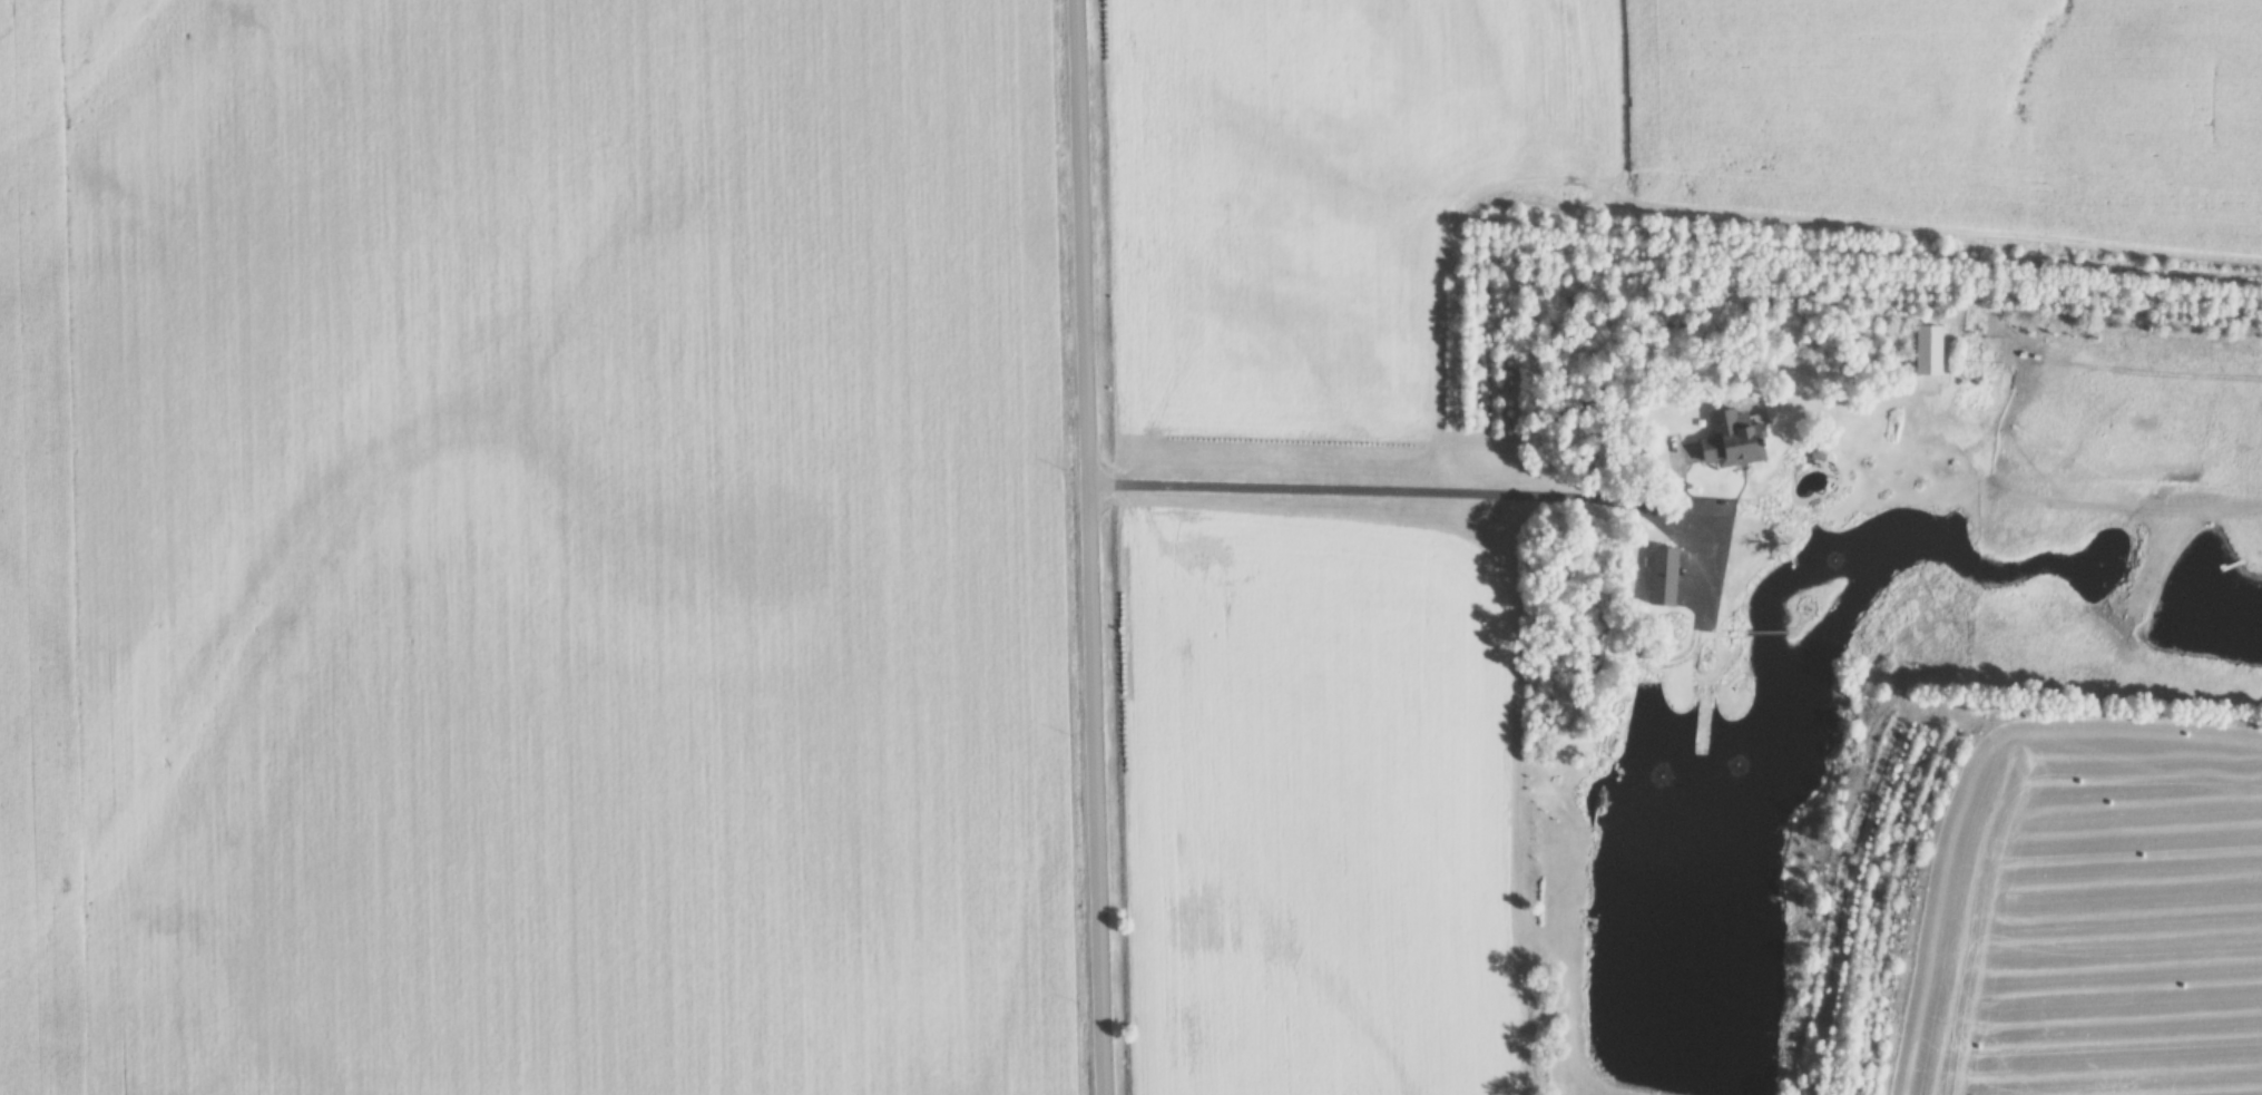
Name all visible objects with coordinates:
building: (1729, 444)
road: (1426, 490)
road: (1089, 547)
building: (1658, 577)

